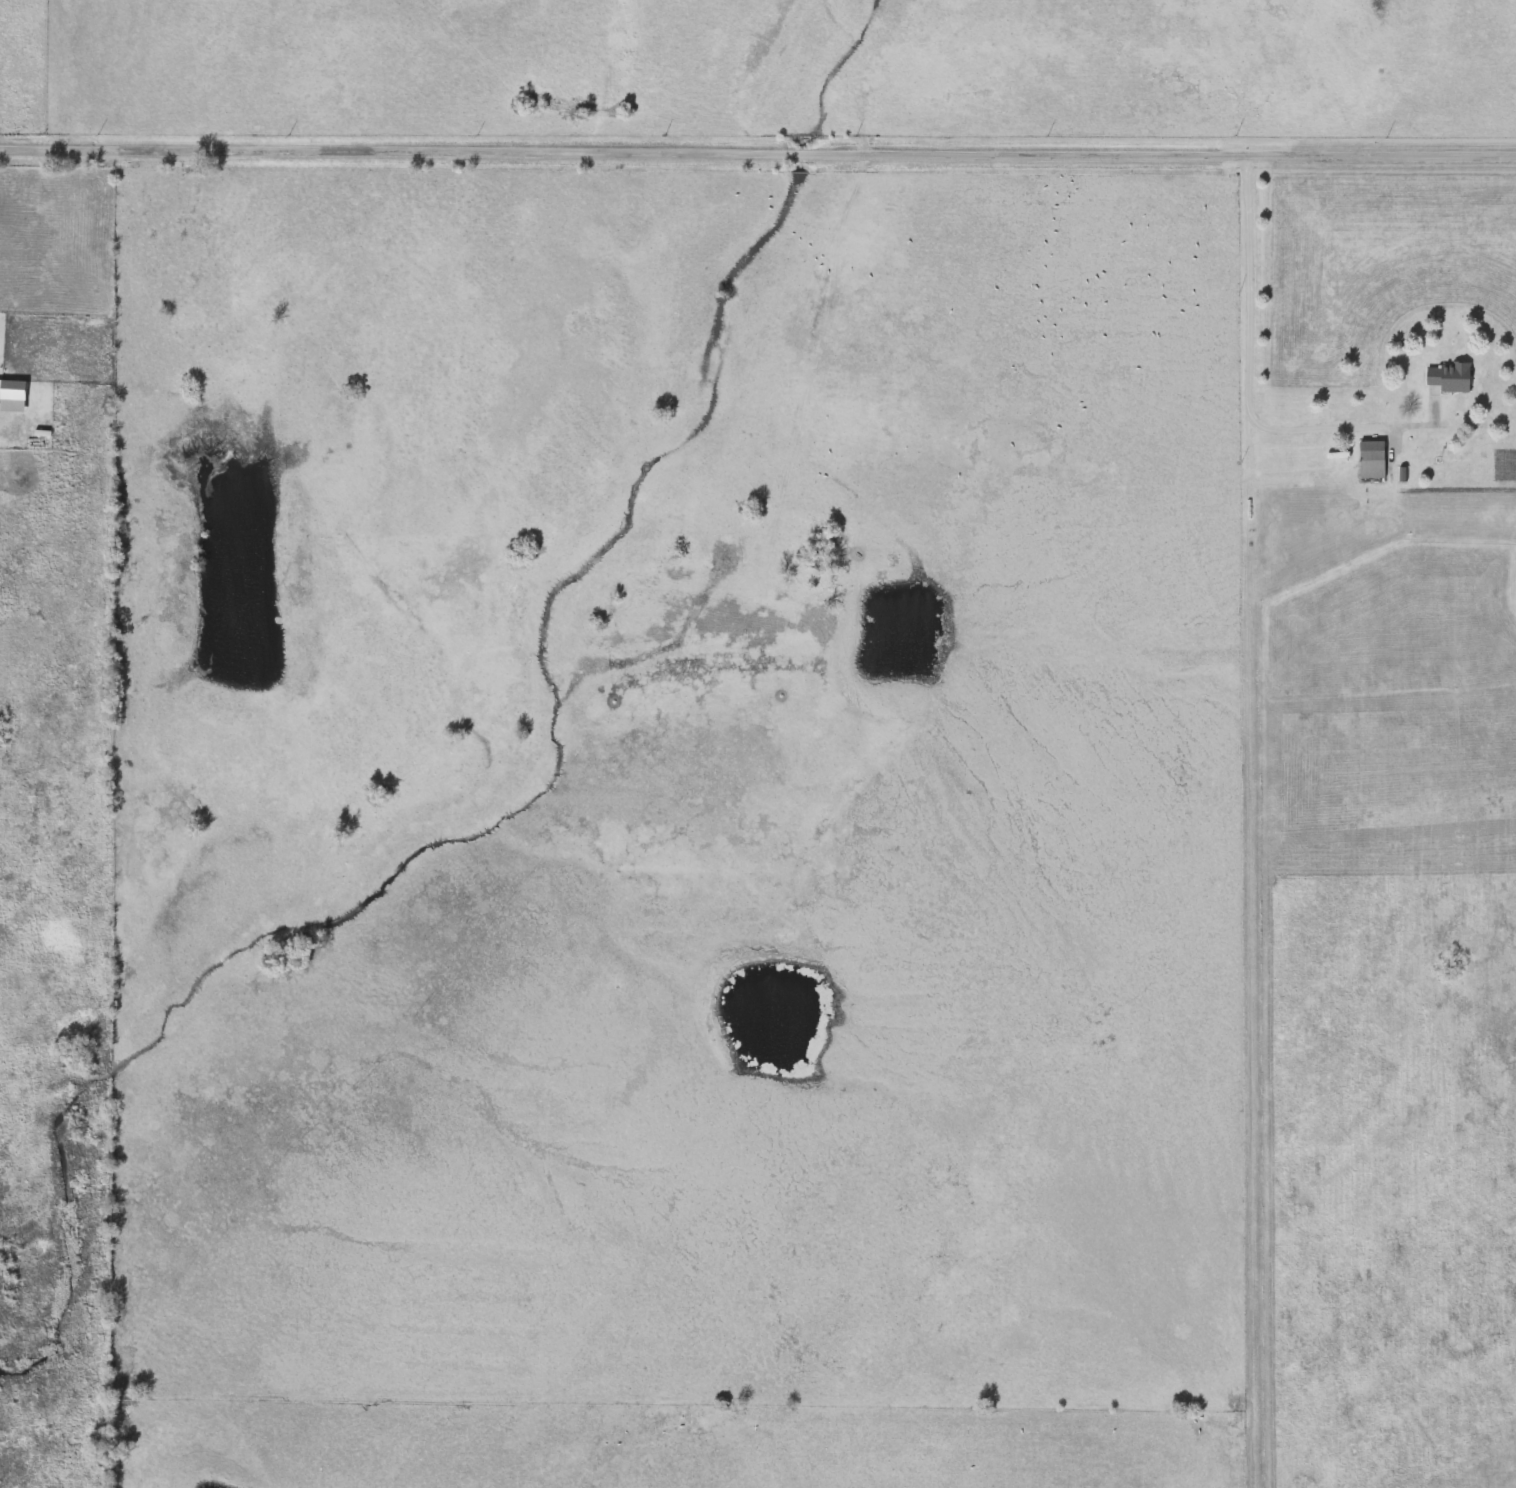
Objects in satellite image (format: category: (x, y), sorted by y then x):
road: (758, 153)
road: (1251, 354)
building: (1448, 377)
building: (12, 395)
building: (1371, 459)

